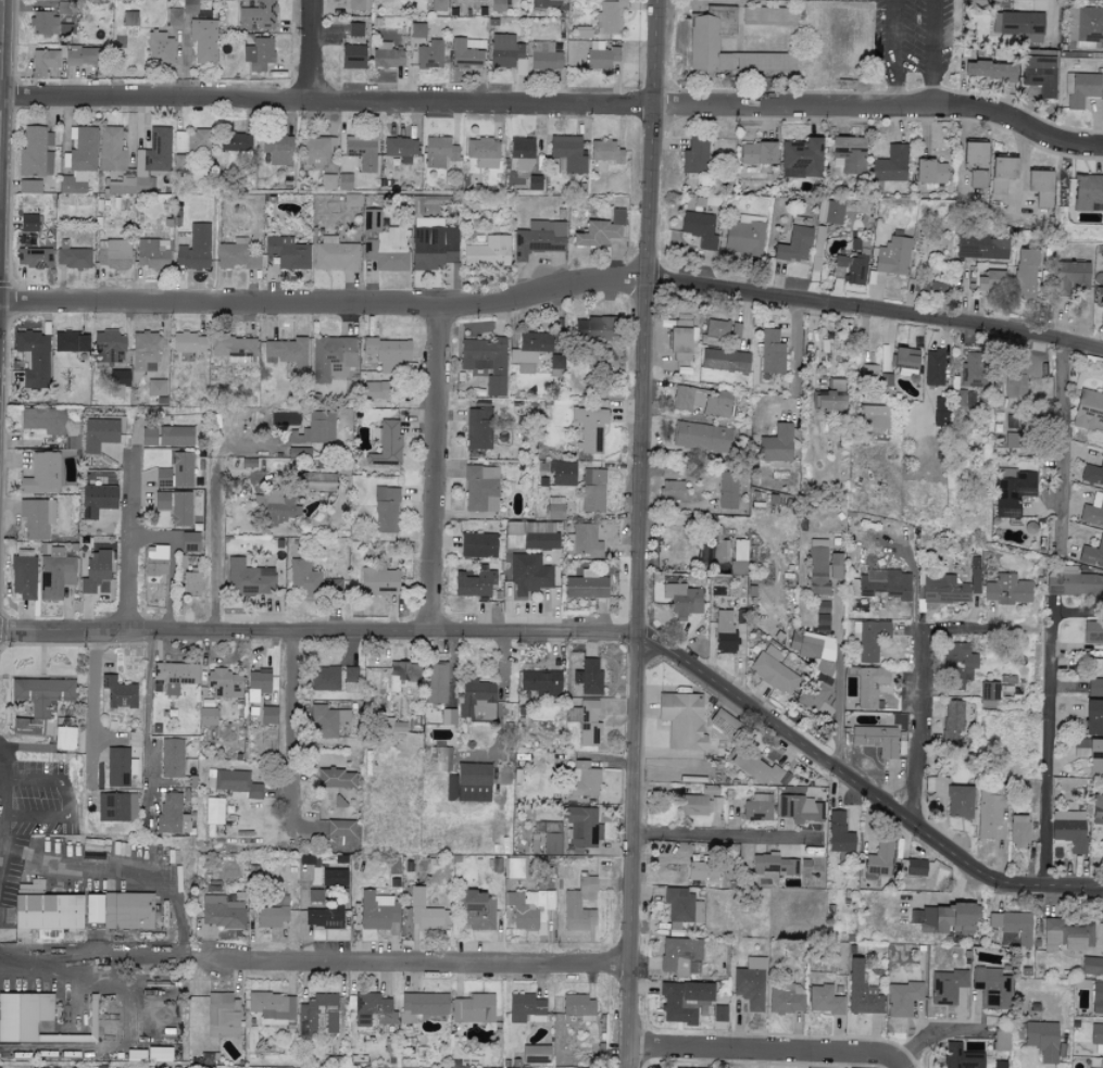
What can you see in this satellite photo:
building: (562, 0)
building: (359, 4)
building: (438, 4)
building: (976, 4)
building: (189, 5)
building: (497, 5)
building: (256, 15)
building: (768, 15)
building: (174, 16)
building: (607, 16)
building: (129, 17)
road: (1052, 18)
building: (1085, 24)
road: (1, 25)
building: (49, 25)
building: (1018, 25)
building: (354, 29)
building: (417, 29)
building: (203, 40)
building: (703, 42)
building: (383, 45)
building: (159, 48)
road: (308, 51)
building: (506, 52)
building: (258, 53)
building: (466, 53)
building: (429, 54)
building: (79, 55)
building: (543, 55)
building: (600, 55)
road: (893, 55)
road: (932, 55)
building: (352, 56)
building: (387, 58)
building: (43, 62)
building: (991, 71)
building: (1039, 74)
building: (1080, 89)
road: (554, 106)
building: (191, 141)
building: (234, 141)
building: (399, 147)
building: (277, 149)
building: (110, 150)
building: (361, 150)
building: (604, 151)
building: (35, 152)
building: (316, 152)
building: (438, 152)
building: (482, 152)
building: (567, 152)
building: (974, 152)
building: (757, 153)
building: (849, 154)
building: (694, 155)
building: (801, 158)
building: (79, 160)
building: (146, 160)
building: (523, 161)
building: (178, 162)
building: (890, 164)
building: (930, 172)
building: (1001, 173)
building: (977, 178)
building: (343, 181)
building: (29, 186)
building: (1040, 187)
building: (1088, 192)
building: (352, 200)
building: (829, 212)
building: (28, 223)
building: (699, 228)
building: (600, 230)
building: (743, 235)
building: (539, 238)
building: (384, 243)
building: (433, 243)
building: (794, 244)
building: (980, 247)
building: (195, 248)
building: (287, 252)
building: (488, 252)
building: (152, 253)
building: (113, 254)
building: (237, 254)
building: (335, 254)
building: (892, 255)
building: (73, 256)
building: (33, 257)
building: (852, 267)
building: (1025, 274)
building: (1069, 277)
building: (990, 281)
building: (937, 287)
building: (1099, 293)
road: (875, 304)
road: (324, 307)
building: (716, 328)
building: (592, 329)
building: (736, 329)
building: (681, 340)
building: (70, 342)
building: (188, 342)
building: (108, 347)
building: (234, 348)
building: (387, 349)
building: (145, 351)
building: (528, 351)
building: (286, 352)
building: (772, 352)
road: (794, 353)
building: (34, 357)
building: (331, 357)
building: (725, 360)
building: (905, 361)
building: (486, 362)
building: (555, 363)
building: (385, 367)
building: (933, 367)
building: (973, 369)
building: (118, 377)
building: (1015, 380)
building: (156, 387)
building: (371, 390)
building: (687, 398)
building: (830, 398)
building: (958, 398)
building: (717, 404)
building: (940, 410)
building: (1089, 411)
building: (873, 417)
building: (43, 419)
building: (478, 428)
building: (589, 428)
building: (315, 429)
road: (1061, 429)
building: (98, 434)
building: (165, 436)
building: (702, 437)
building: (386, 443)
building: (776, 444)
building: (298, 452)
building: (181, 469)
road: (435, 473)
building: (668, 473)
building: (562, 474)
building: (1092, 474)
building: (41, 475)
building: (163, 477)
building: (480, 488)
building: (592, 490)
building: (728, 490)
building: (1012, 490)
building: (674, 491)
building: (96, 500)
building: (175, 506)
building: (276, 506)
building: (554, 508)
building: (386, 511)
building: (1093, 511)
building: (36, 517)
road: (121, 524)
road: (638, 533)
building: (531, 536)
building: (189, 541)
building: (582, 541)
road: (214, 544)
building: (477, 545)
building: (719, 549)
building: (740, 550)
building: (53, 551)
building: (1092, 554)
building: (155, 561)
building: (836, 566)
building: (817, 567)
building: (95, 570)
building: (529, 574)
building: (54, 576)
building: (23, 577)
building: (249, 578)
building: (303, 578)
building: (974, 579)
building: (379, 581)
building: (475, 582)
building: (190, 583)
building: (882, 583)
building: (1073, 583)
building: (586, 586)
building: (333, 588)
building: (943, 589)
building: (1006, 589)
building: (682, 600)
building: (823, 606)
building: (823, 623)
building: (1093, 630)
building: (724, 631)
road: (591, 636)
building: (869, 638)
building: (813, 645)
building: (957, 665)
building: (773, 670)
building: (174, 676)
building: (402, 676)
building: (588, 677)
building: (324, 678)
building: (350, 679)
road: (837, 679)
building: (259, 680)
building: (436, 682)
building: (540, 682)
building: (223, 683)
building: (870, 687)
building: (1094, 687)
building: (989, 692)
building: (118, 693)
road: (922, 695)
building: (476, 700)
building: (38, 701)
road: (146, 711)
road: (95, 715)
building: (267, 715)
building: (208, 716)
building: (448, 716)
building: (1093, 717)
building: (325, 720)
building: (682, 720)
building: (952, 720)
building: (586, 721)
building: (722, 721)
road: (289, 728)
building: (64, 739)
building: (875, 739)
road: (1053, 749)
building: (1095, 757)
building: (172, 758)
building: (117, 767)
building: (755, 767)
road: (1, 771)
building: (336, 779)
building: (584, 779)
building: (468, 783)
building: (929, 783)
building: (233, 784)
road: (64, 800)
building: (700, 802)
building: (960, 802)
building: (116, 807)
building: (757, 807)
building: (1096, 808)
building: (800, 809)
building: (214, 811)
building: (988, 814)
building: (172, 815)
building: (582, 827)
building: (1069, 829)
building: (341, 831)
building: (1018, 832)
building: (838, 833)
building: (537, 842)
building: (552, 843)
road: (732, 843)
building: (96, 844)
building: (305, 859)
building: (879, 859)
building: (773, 865)
building: (915, 867)
building: (515, 868)
building: (703, 871)
building: (333, 878)
road: (166, 882)
building: (315, 895)
building: (572, 905)
building: (682, 906)
building: (529, 908)
building: (92, 909)
building: (127, 910)
building: (477, 910)
building: (47, 913)
building: (222, 913)
building: (378, 913)
building: (423, 913)
building: (271, 917)
building: (323, 918)
building: (948, 918)
building: (1013, 925)
building: (48, 934)
building: (1066, 935)
building: (679, 954)
road: (42, 956)
road: (187, 958)
road: (411, 964)
building: (1091, 965)
building: (750, 983)
building: (947, 985)
building: (991, 987)
building: (861, 990)
building: (786, 997)
building: (902, 997)
building: (1096, 997)
building: (684, 1000)
building: (824, 1000)
building: (422, 1006)
building: (579, 1006)
building: (273, 1007)
building: (473, 1008)
building: (526, 1008)
building: (373, 1010)
building: (23, 1014)
building: (221, 1015)
building: (306, 1022)
building: (92, 1031)
road: (935, 1031)
building: (1096, 1038)
building: (1042, 1039)
building: (1001, 1040)
road: (143, 1045)
road: (762, 1052)
building: (159, 1053)
building: (536, 1053)
building: (961, 1056)
road: (900, 1065)
building: (688, 1067)

